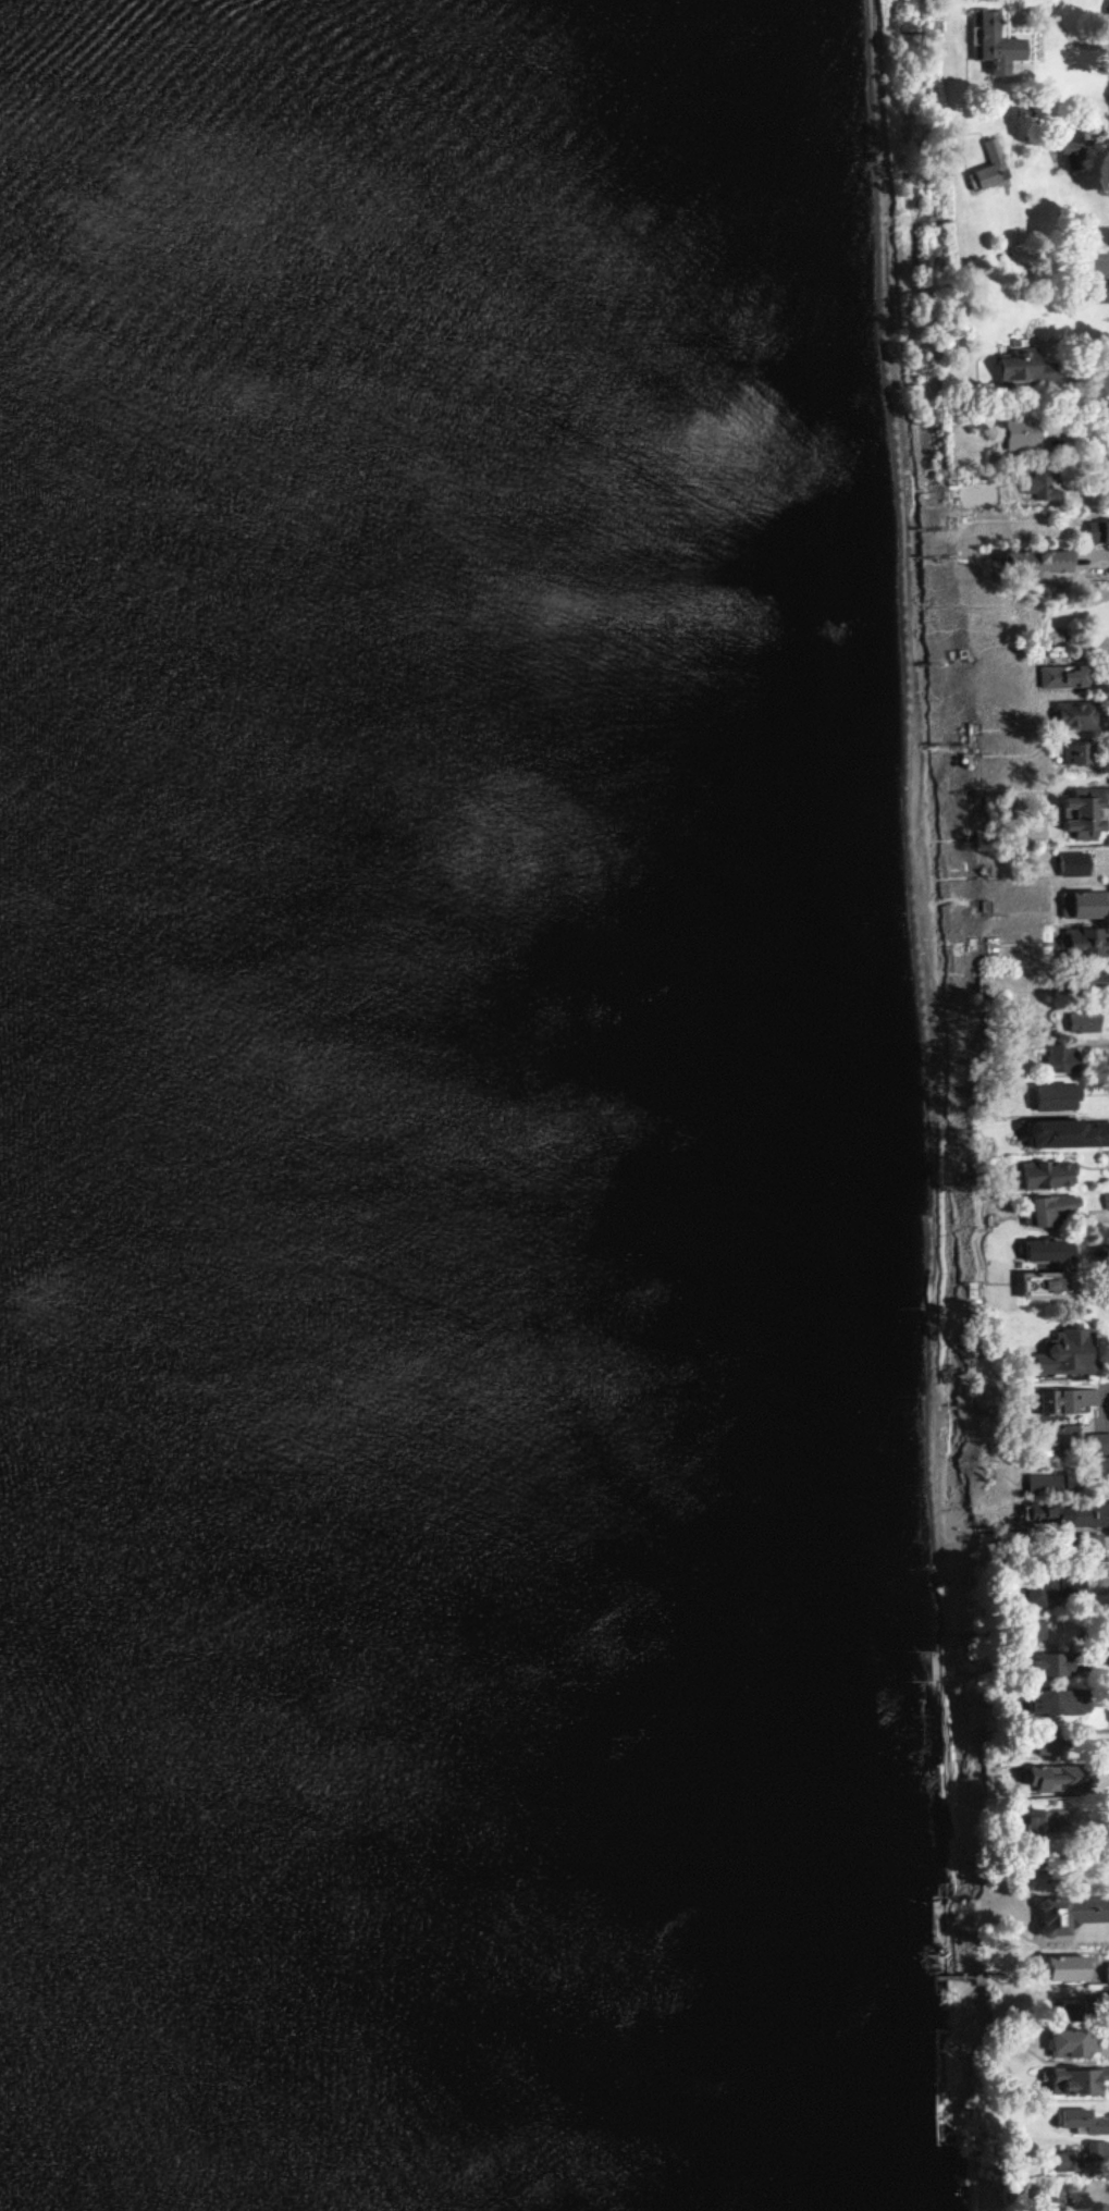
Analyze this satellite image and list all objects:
building: (998, 47)
road: (1076, 89)
building: (990, 151)
building: (1023, 434)
building: (1042, 487)
road: (1101, 562)
building: (1048, 677)
building: (1079, 677)
building: (1075, 715)
building: (1075, 754)
building: (1084, 812)
building: (1073, 864)
building: (1090, 906)
building: (1079, 942)
building: (1060, 1059)
building: (1057, 1096)
building: (1069, 1133)
building: (1048, 1174)
building: (1107, 1200)
building: (1049, 1207)
building: (1049, 1250)
building: (1067, 1352)
building: (1072, 1399)
road: (1108, 1405)
building: (1067, 1433)
building: (1067, 1513)
building: (1040, 1629)
building: (1053, 1665)
building: (1059, 1702)
building: (1056, 1778)
building: (1088, 1909)
road: (1102, 1934)
building: (1069, 1968)
building: (1107, 1972)
building: (1073, 2042)
building: (1079, 2080)
building: (1085, 2121)
building: (1096, 2151)
building: (1070, 2161)
road: (1106, 2199)

